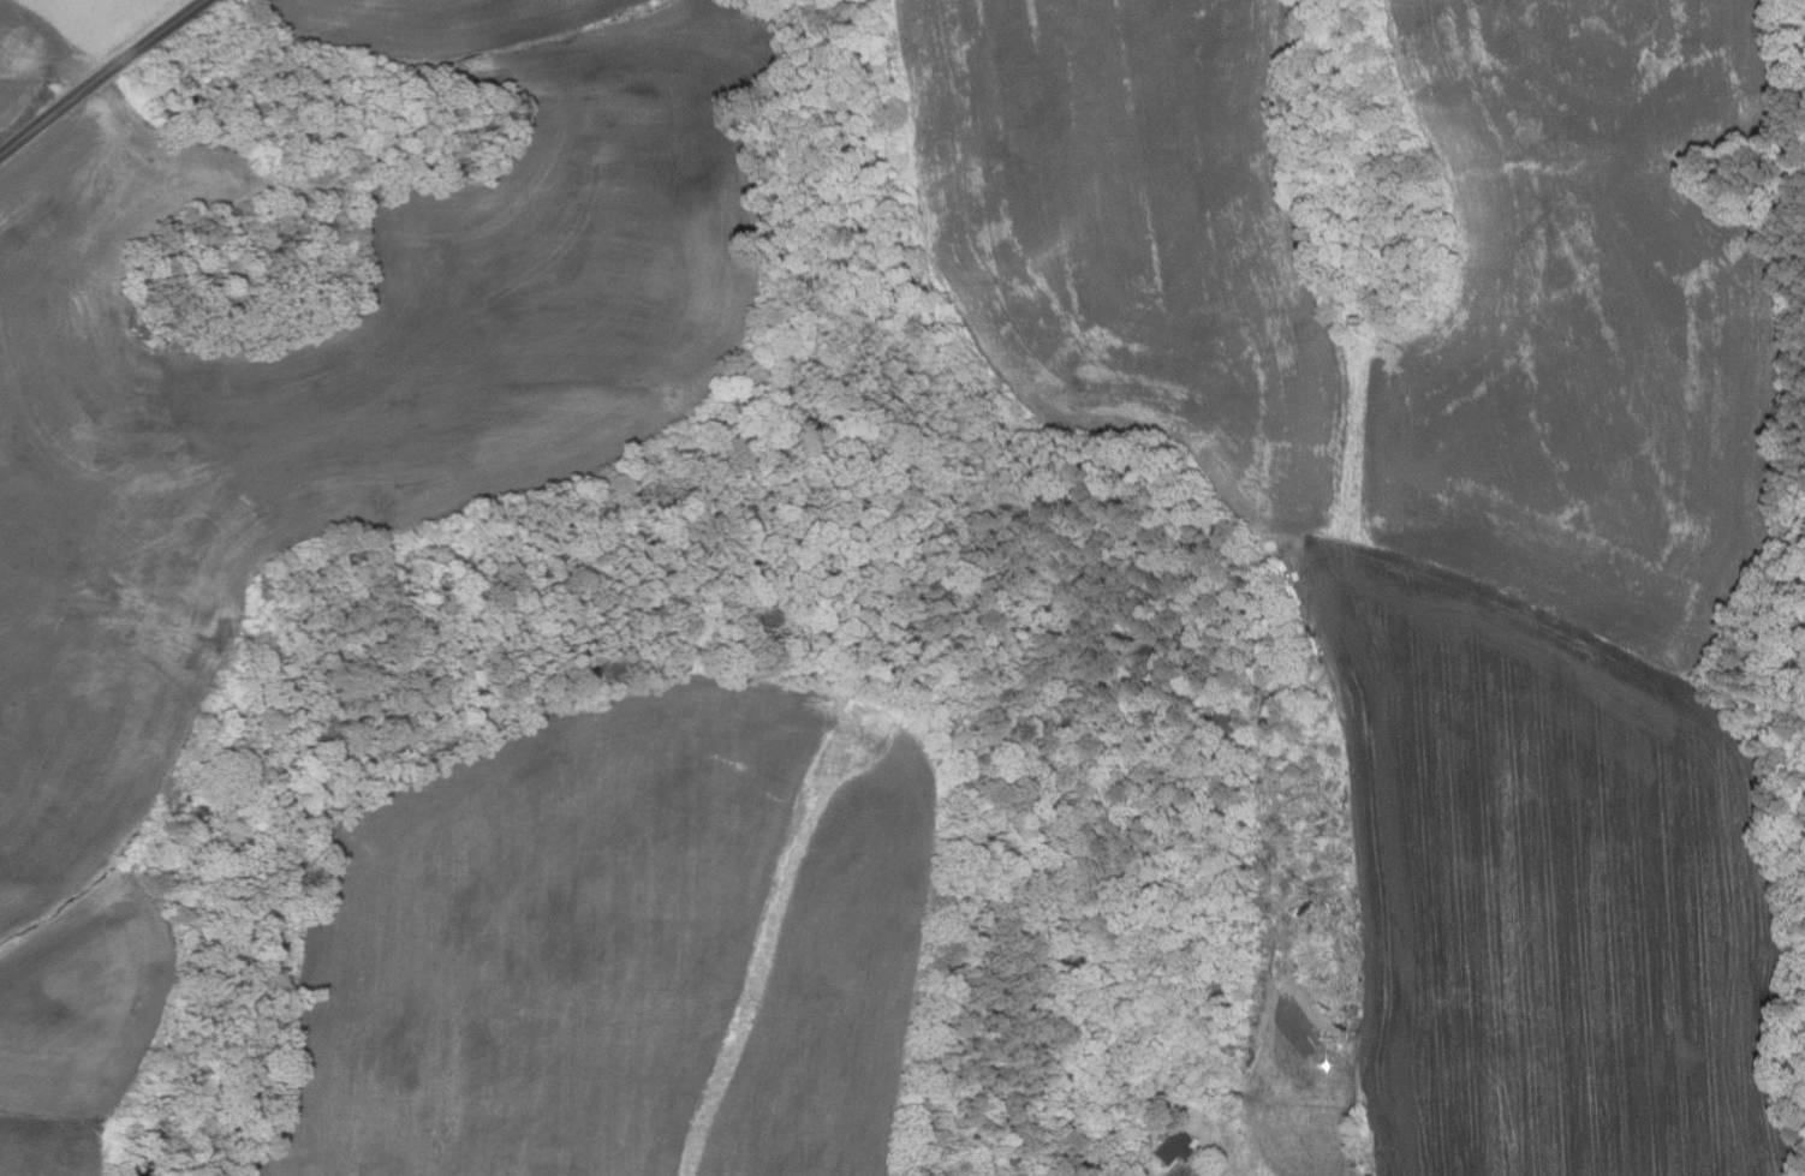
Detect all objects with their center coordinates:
crop: (31, 61)
road: (101, 76)
crop: (318, 429)
crop: (1442, 485)
crop: (1447, 506)
building: (1144, 650)
building: (1280, 683)
building: (1288, 756)
building: (1259, 796)
building: (1243, 868)
building: (1307, 908)
crop: (622, 944)
crop: (52, 1145)
building: (1172, 1146)
building: (1370, 1175)

